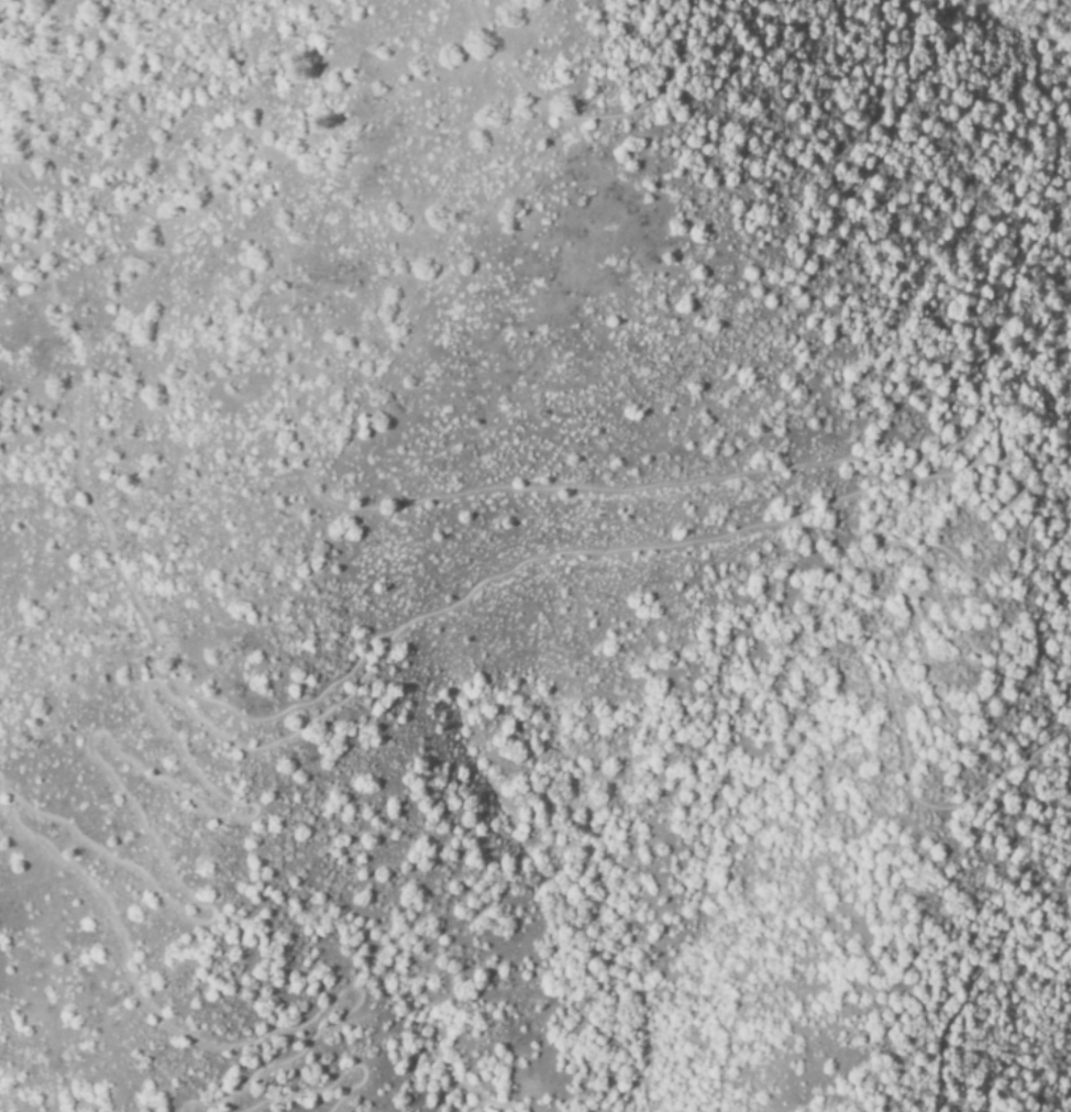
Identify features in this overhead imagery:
road: (586, 117)
road: (853, 189)
road: (407, 503)
road: (912, 548)
road: (333, 675)
road: (135, 764)
road: (979, 971)
road: (232, 1039)
road: (321, 1071)
road: (626, 1086)
road: (461, 1089)
road: (2, 1102)
road: (466, 1110)

